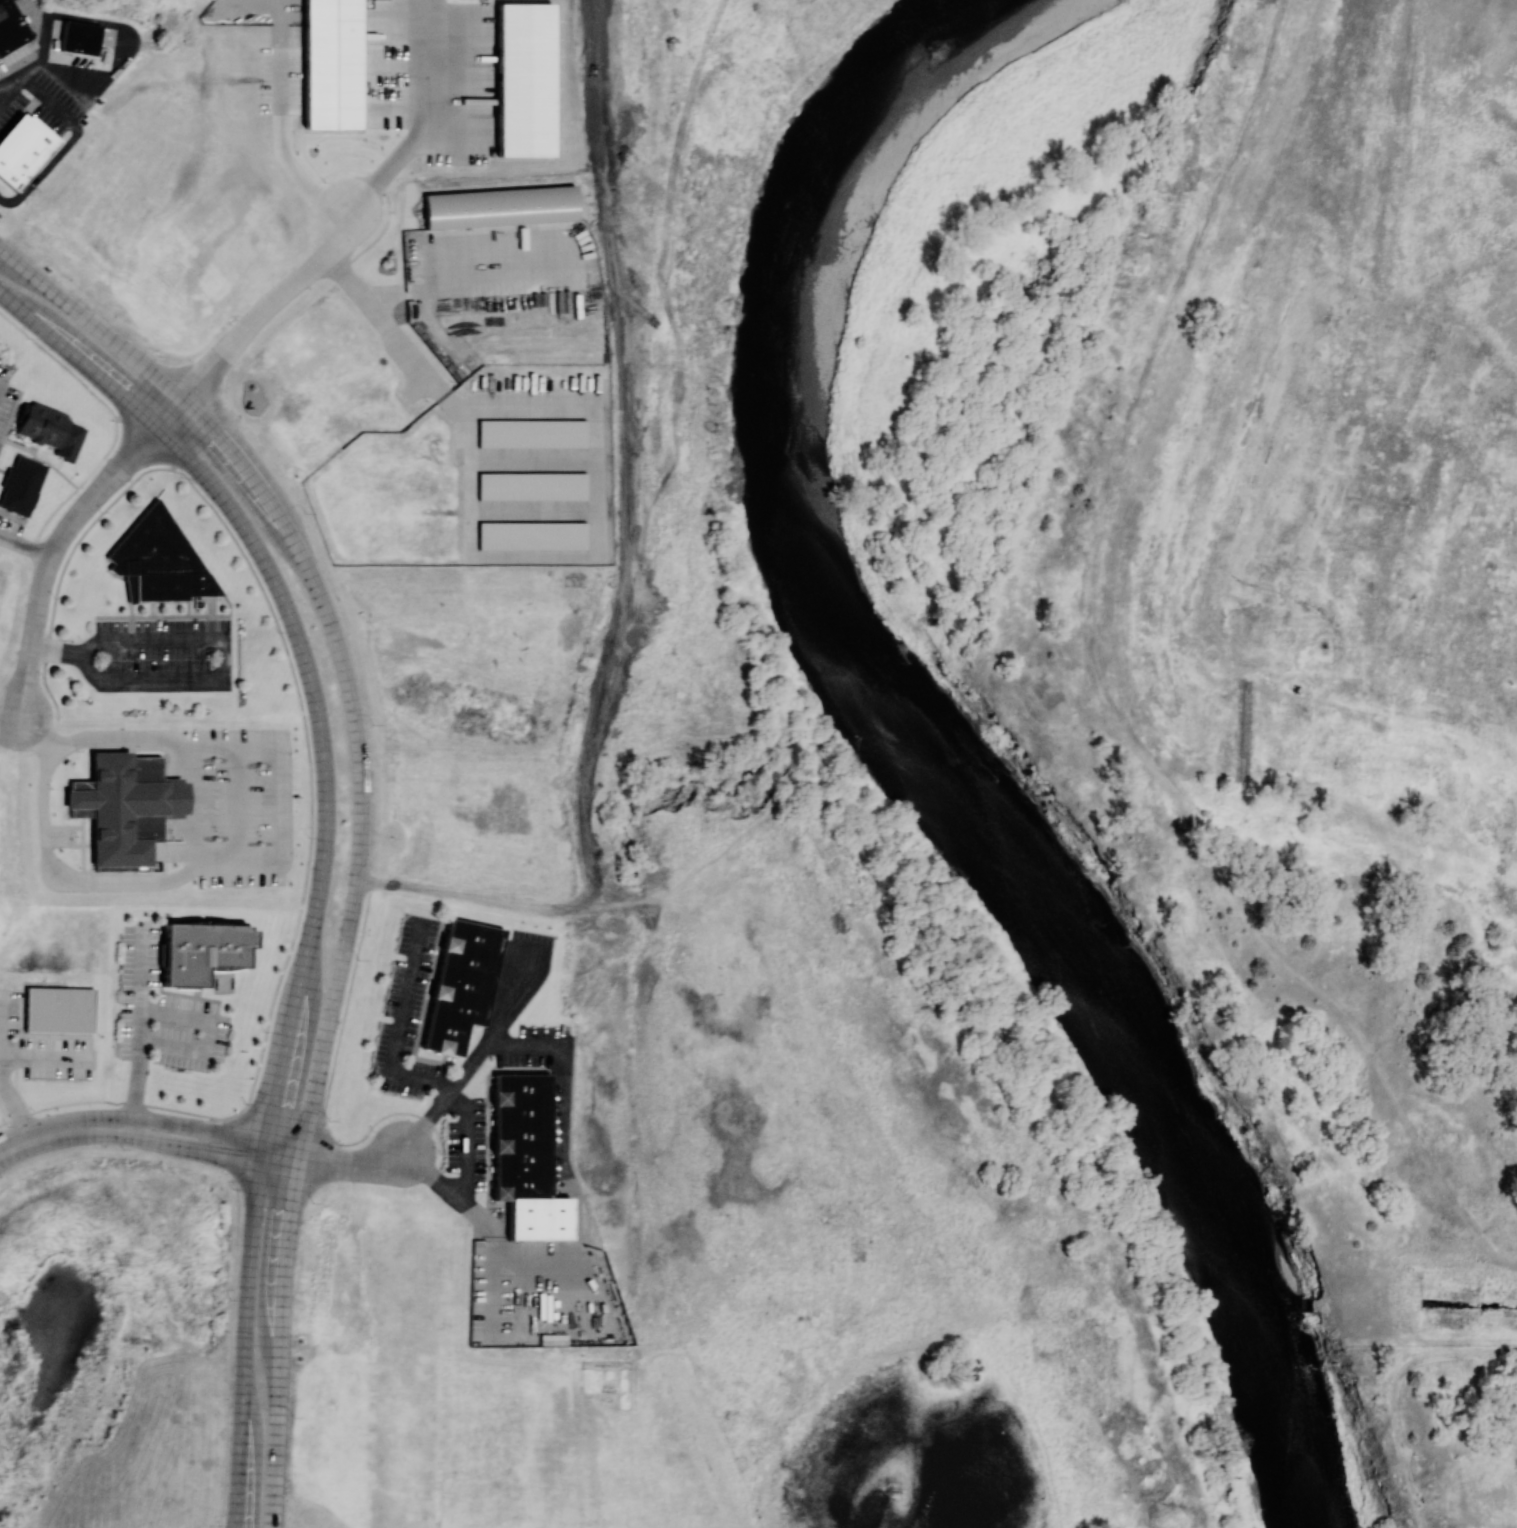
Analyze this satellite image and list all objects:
building: (12, 28)
building: (82, 38)
building: (330, 63)
building: (528, 82)
road: (425, 118)
road: (281, 138)
building: (25, 151)
building: (501, 209)
road: (0, 247)
road: (427, 287)
road: (269, 307)
road: (391, 335)
street lamp: (27, 340)
street lamp: (158, 355)
building: (46, 425)
building: (530, 432)
building: (21, 483)
building: (531, 485)
building: (531, 536)
road: (61, 540)
road: (27, 544)
landfill: (1340, 546)
building: (160, 561)
road: (268, 568)
road: (315, 587)
road: (216, 641)
river: (919, 754)
road: (192, 808)
building: (124, 810)
street lamp: (308, 838)
road: (279, 853)
building: (201, 953)
street lamp: (360, 961)
building: (459, 984)
road: (300, 985)
building: (60, 1009)
road: (141, 1027)
street lamp: (264, 1030)
road: (204, 1032)
road: (400, 1033)
road: (39, 1059)
road: (476, 1059)
street lamp: (119, 1080)
road: (280, 1083)
road: (11, 1102)
road: (312, 1102)
street lamp: (245, 1104)
road: (566, 1106)
street lamp: (330, 1121)
street lamp: (7, 1126)
road: (63, 1130)
road: (217, 1132)
road: (195, 1149)
street lamp: (123, 1150)
road: (266, 1151)
street lamp: (441, 1153)
building: (523, 1156)
road: (282, 1161)
road: (357, 1166)
road: (466, 1168)
road: (434, 1180)
street lamp: (233, 1190)
street lamp: (314, 1204)
road: (546, 1266)
road: (284, 1270)
road: (493, 1288)
street lamp: (228, 1300)
road: (244, 1343)
park: (1428, 1427)
road: (276, 1454)

